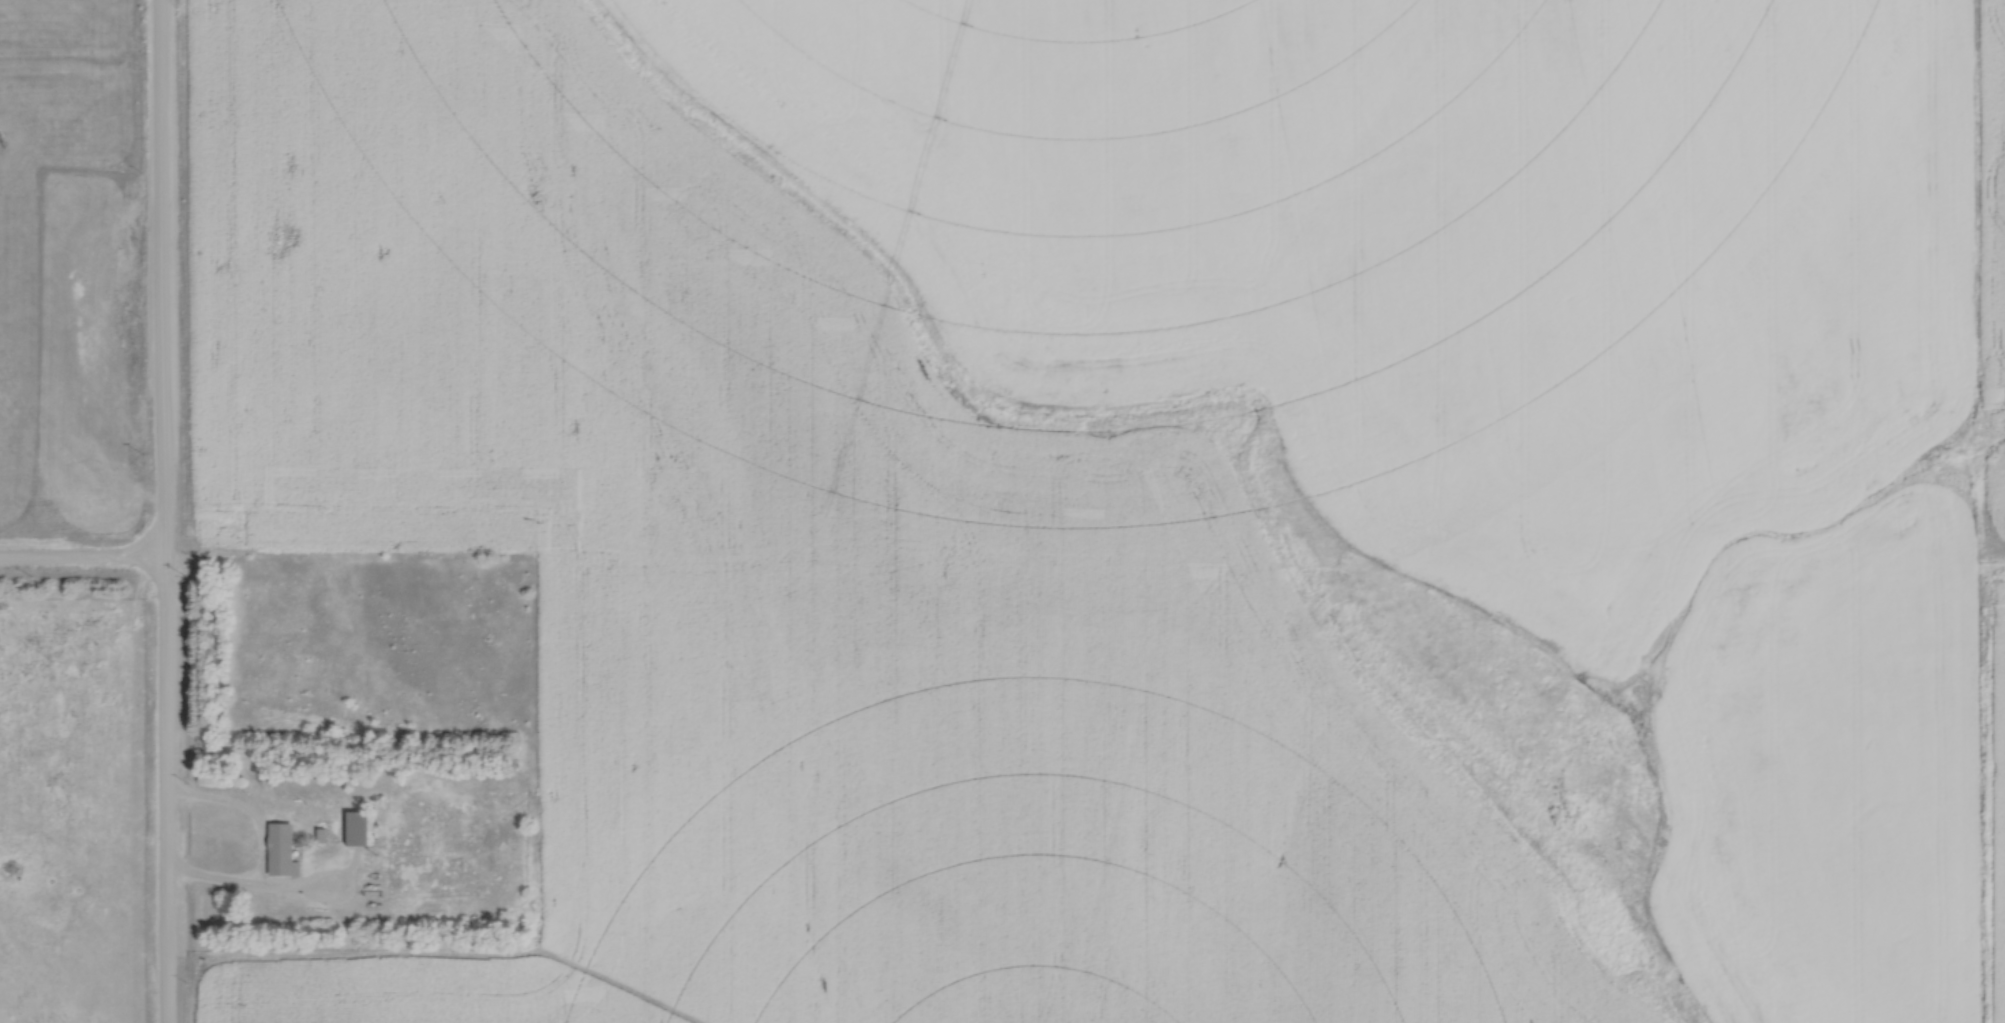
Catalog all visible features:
road: (165, 511)
road: (83, 559)
building: (359, 828)
building: (435, 832)
road: (266, 850)
building: (283, 850)

